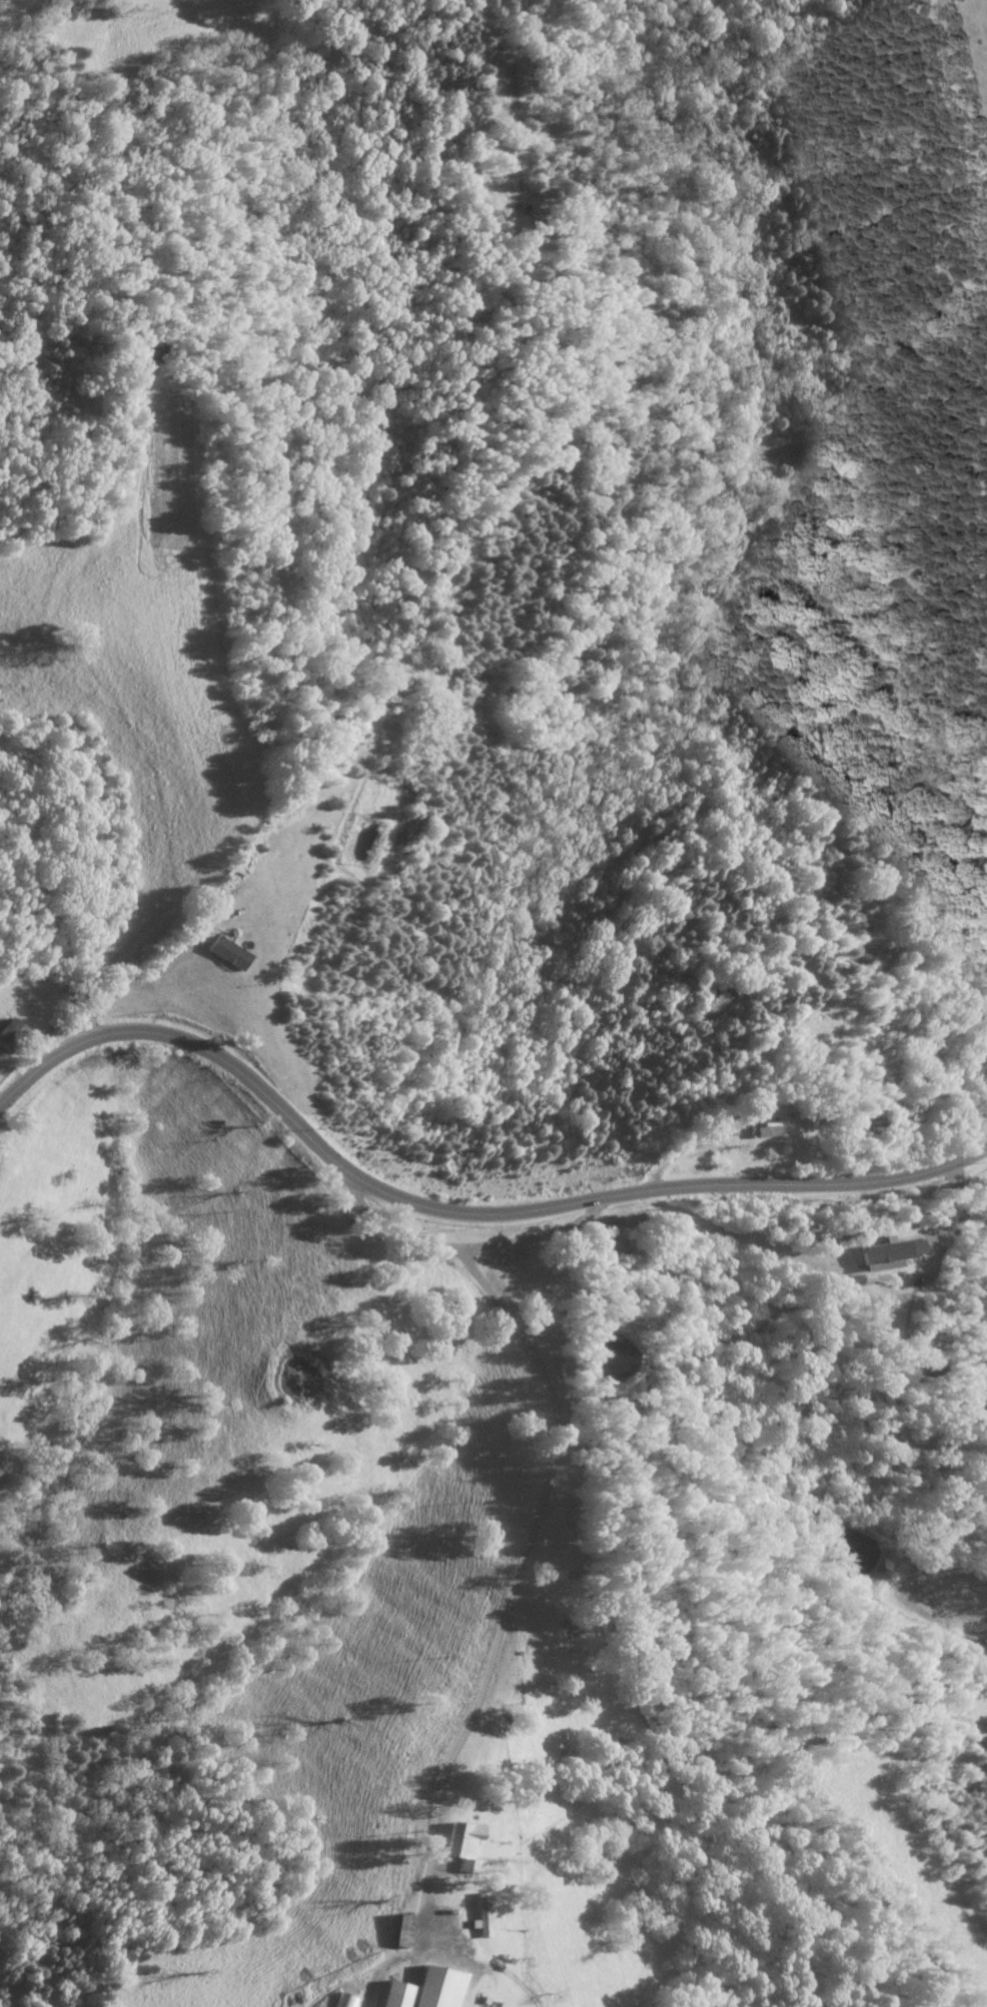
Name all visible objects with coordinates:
building: (229, 954)
building: (11, 1034)
road: (459, 1214)
building: (875, 1256)
road: (464, 1259)
road: (919, 1267)
road: (513, 1620)
building: (459, 1844)
building: (474, 1915)
building: (409, 1930)
building: (441, 1987)
building: (402, 1994)

